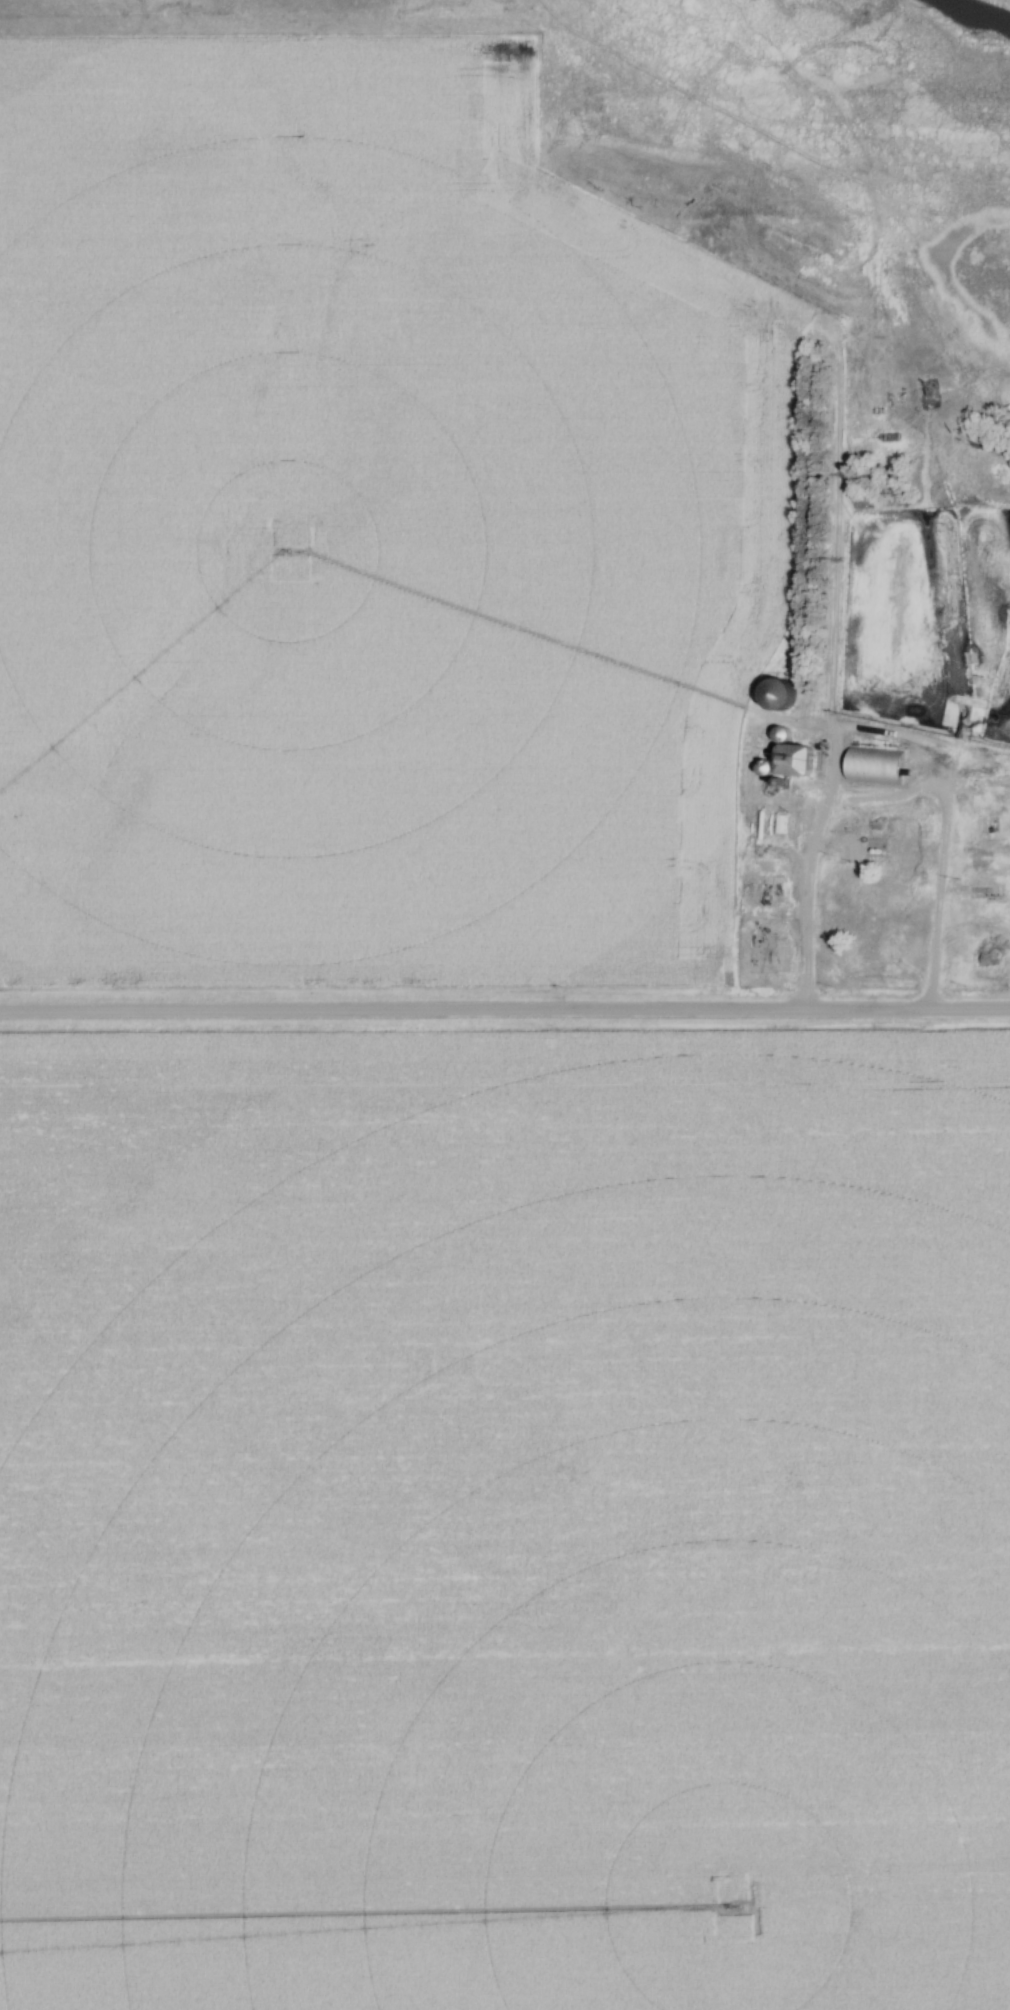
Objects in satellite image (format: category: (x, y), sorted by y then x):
river: (1002, 3)
building: (779, 695)
building: (788, 757)
building: (875, 765)
building: (895, 849)
road: (826, 850)
road: (802, 877)
building: (771, 890)
building: (994, 893)
road: (931, 940)
building: (762, 954)
road: (504, 1013)

